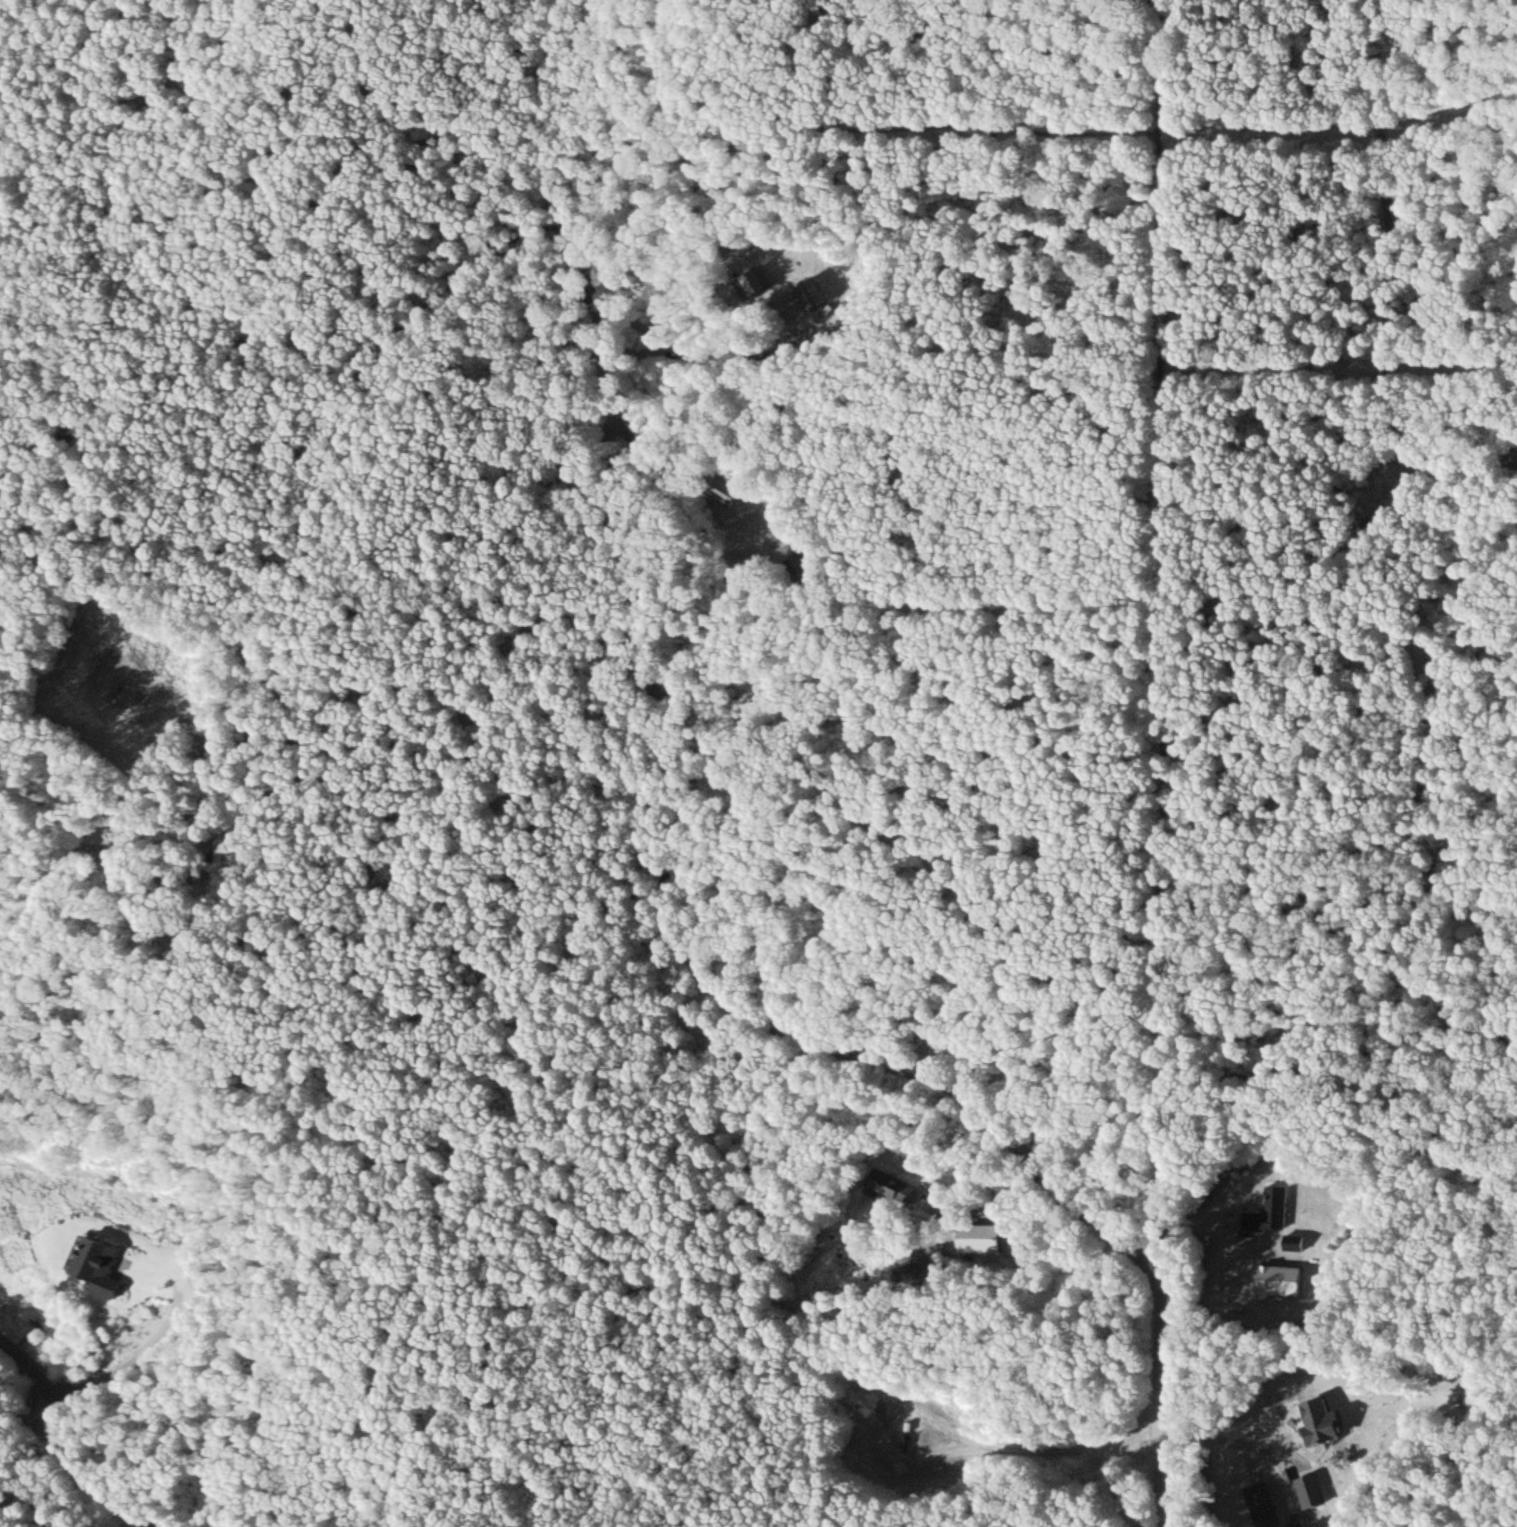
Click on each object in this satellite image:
road: (1389, 216)
road: (589, 260)
building: (767, 277)
building: (814, 293)
road: (324, 480)
building: (734, 491)
road: (814, 1044)
building: (889, 1180)
building: (1275, 1209)
building: (109, 1264)
building: (1327, 1419)
road: (75, 1433)
petroleum well: (905, 1434)
road: (919, 1461)
building: (1316, 1489)
building: (1268, 1504)

